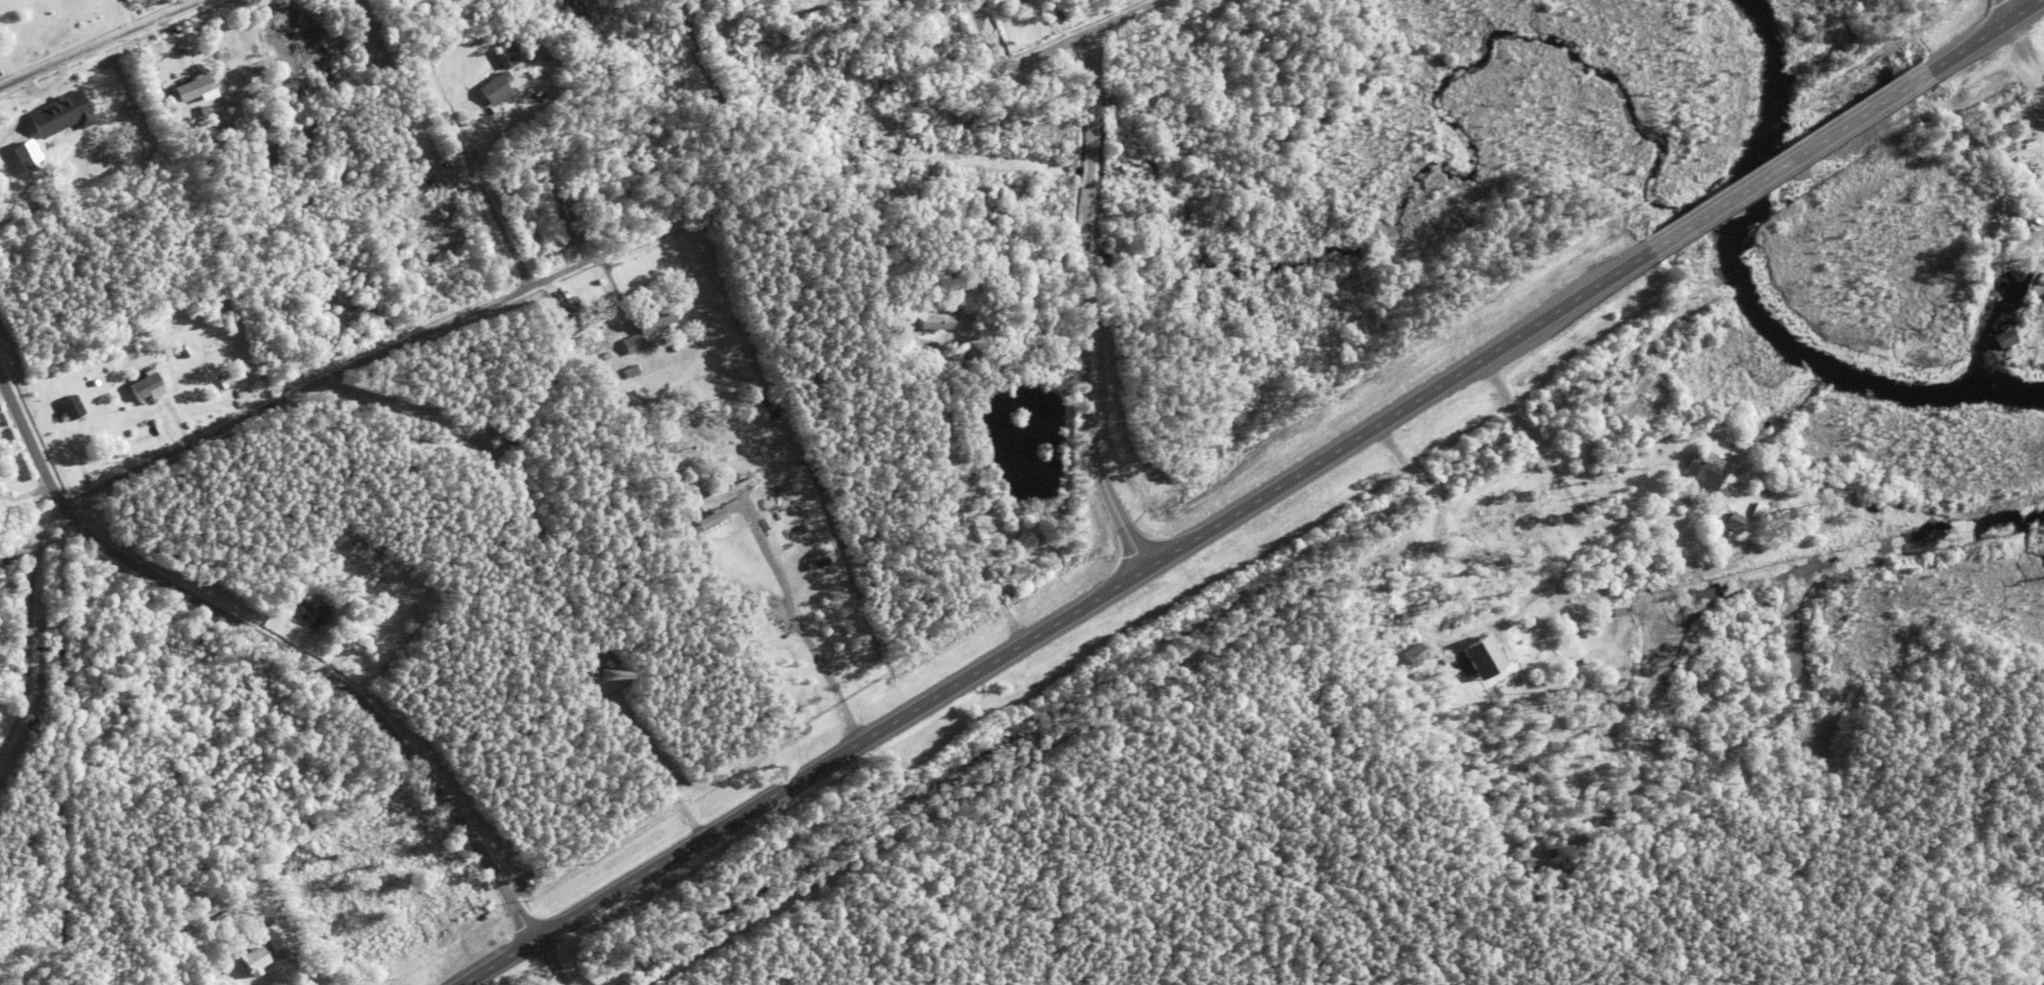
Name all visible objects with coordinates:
building: (992, 1)
road: (819, 2)
building: (873, 9)
road: (2000, 11)
building: (922, 18)
road: (1129, 19)
road: (1983, 37)
road: (108, 44)
building: (929, 44)
building: (506, 54)
road: (1009, 73)
building: (309, 81)
building: (192, 87)
building: (496, 87)
building: (103, 92)
building: (132, 109)
building: (62, 113)
building: (466, 116)
building: (26, 156)
road: (1792, 164)
road: (1930, 216)
road: (453, 224)
building: (356, 286)
building: (335, 298)
building: (317, 303)
river: (1761, 304)
building: (322, 315)
road: (1084, 316)
building: (567, 317)
building: (655, 317)
building: (947, 318)
building: (633, 343)
building: (185, 350)
building: (606, 355)
building: (631, 371)
building: (181, 377)
building: (910, 377)
building: (94, 382)
building: (145, 385)
road: (302, 395)
building: (70, 407)
building: (143, 416)
building: (179, 419)
building: (172, 425)
building: (160, 433)
building: (1706, 470)
building: (1758, 510)
building: (707, 518)
building: (1733, 523)
building: (733, 575)
building: (307, 612)
road: (1061, 614)
building: (763, 624)
building: (330, 631)
road: (273, 644)
building: (1414, 654)
building: (1481, 656)
building: (607, 663)
building: (225, 922)
building: (274, 936)
building: (253, 961)
road: (552, 964)

